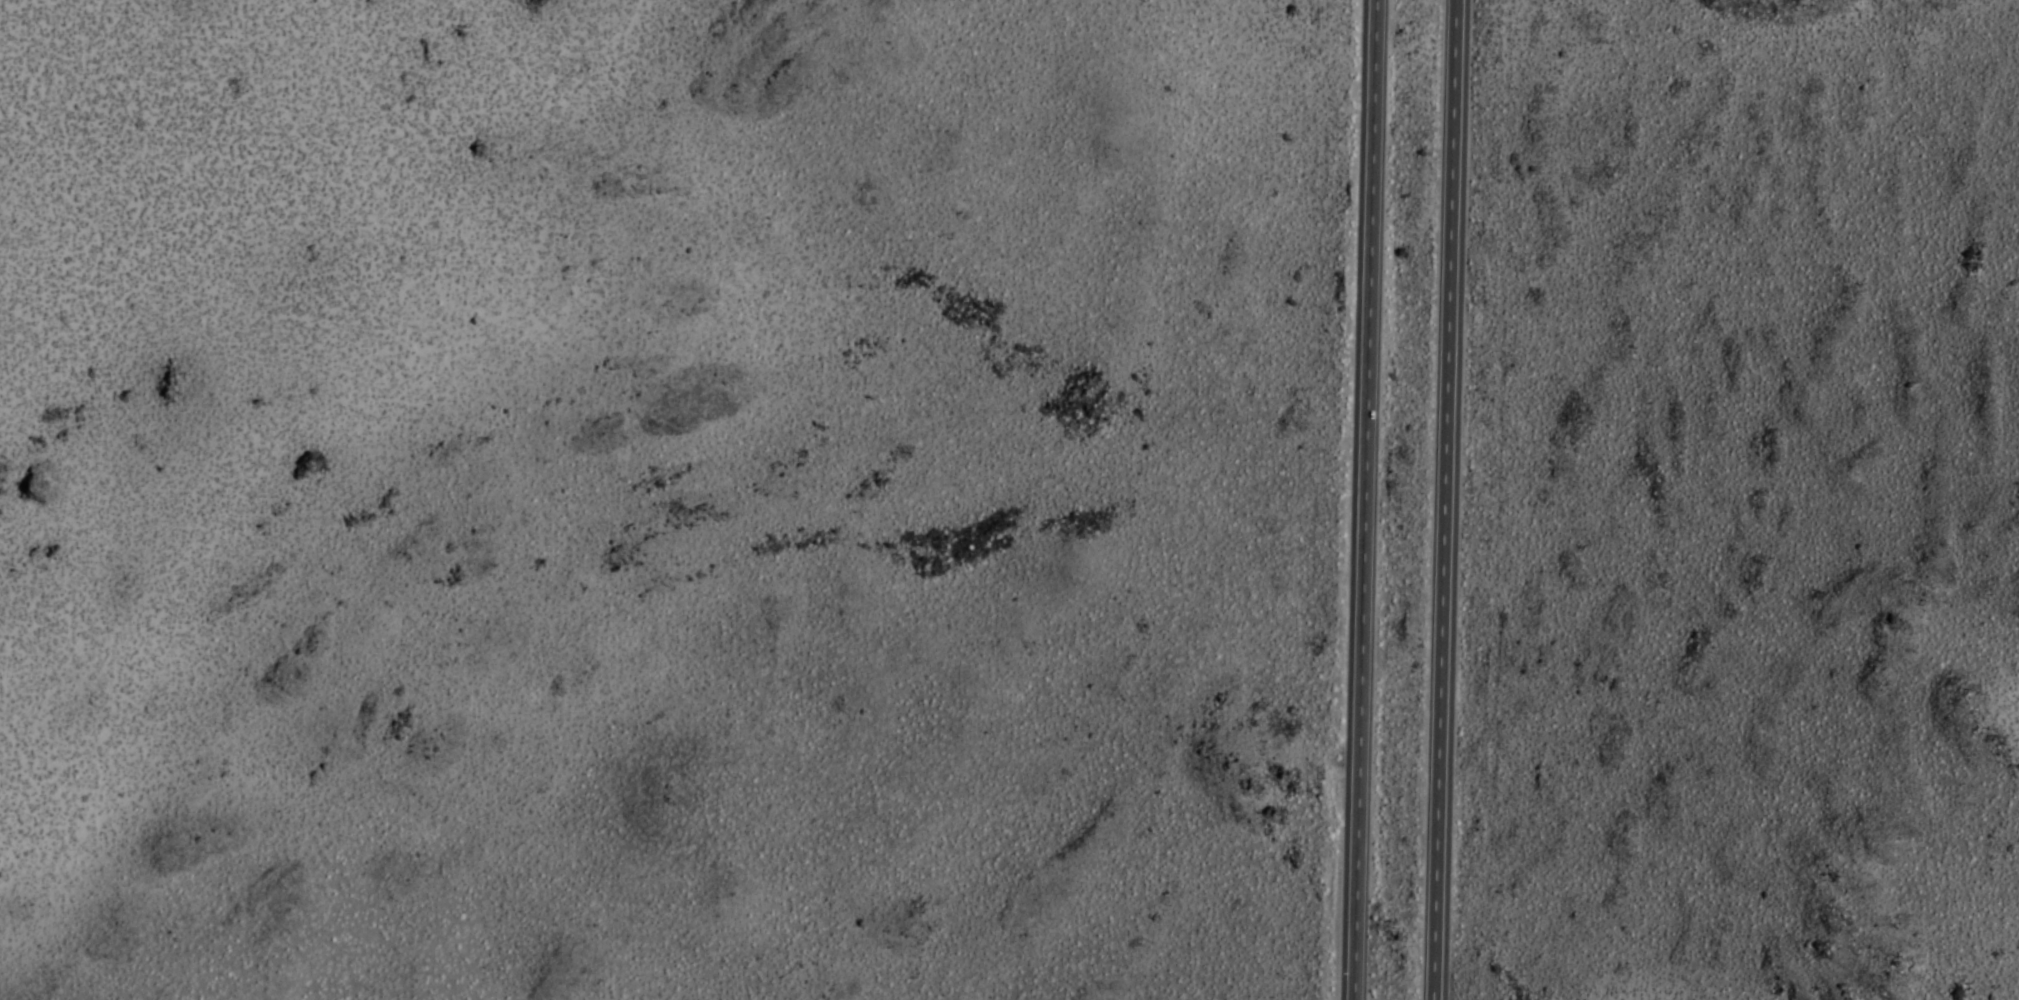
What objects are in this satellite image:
road: (1445, 499)
road: (1364, 500)

